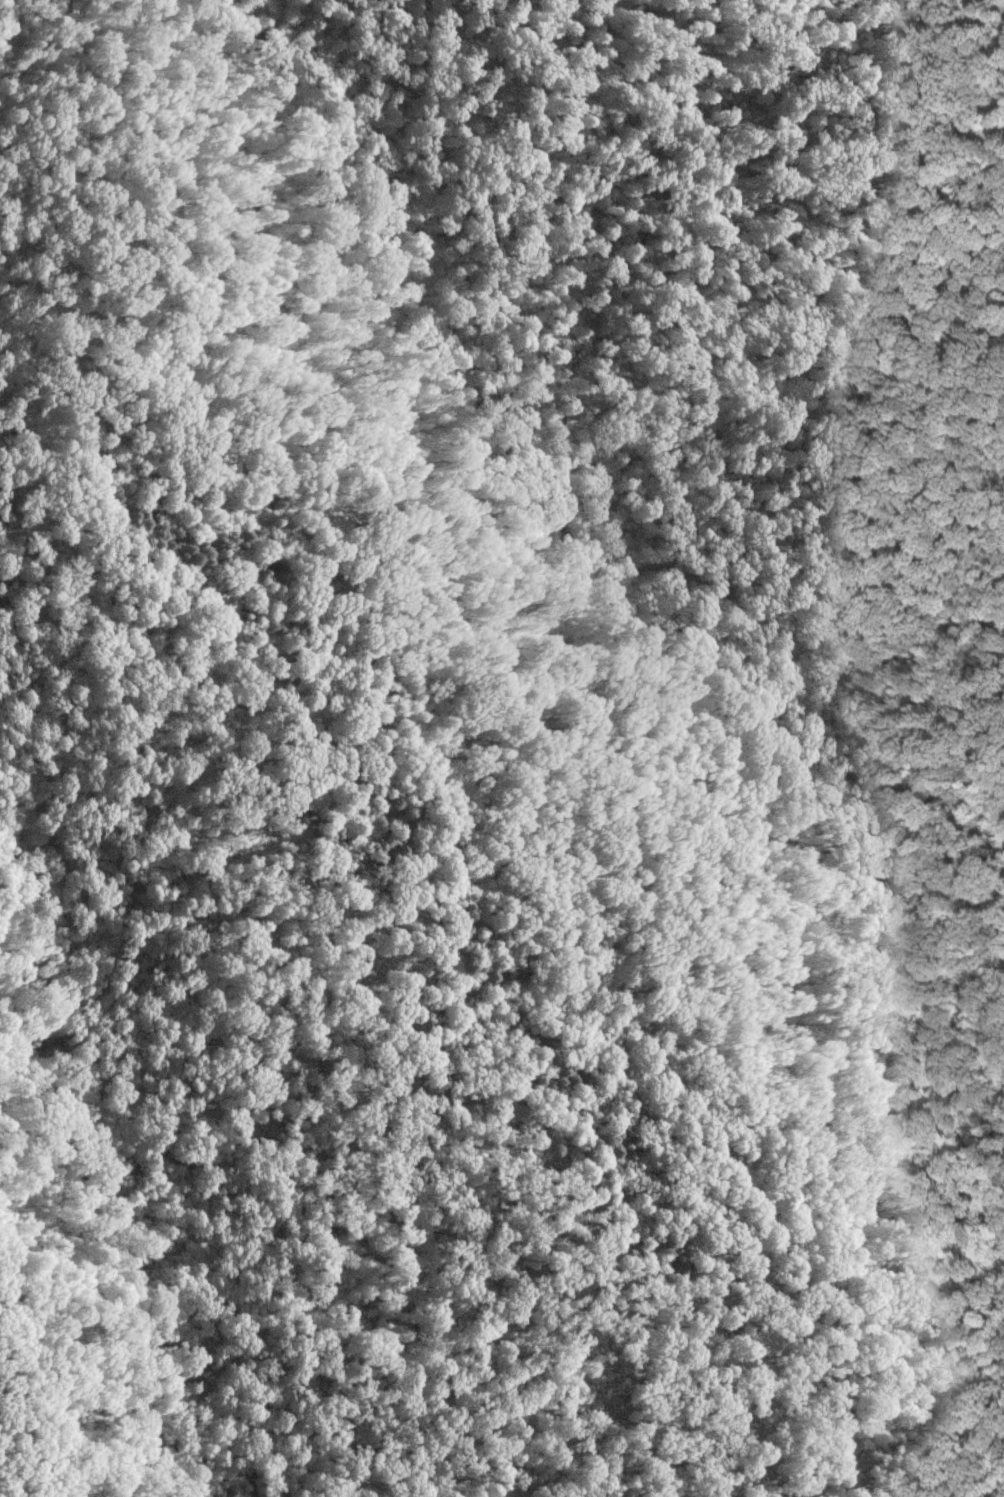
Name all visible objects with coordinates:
road: (383, 730)

